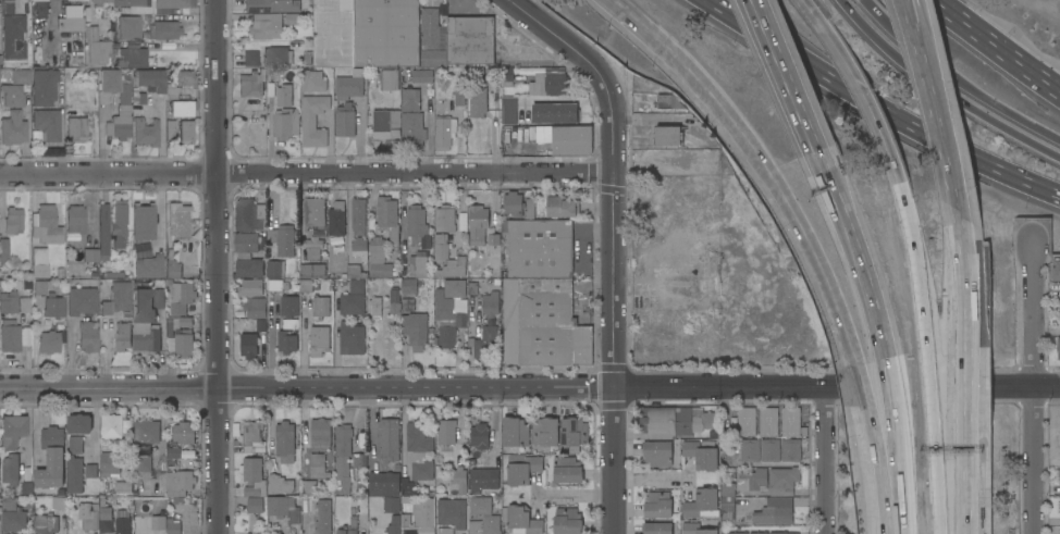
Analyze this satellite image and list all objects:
road: (85, 0)
building: (32, 1)
building: (98, 2)
road: (843, 2)
building: (151, 4)
building: (272, 5)
building: (7, 7)
building: (70, 18)
building: (291, 18)
building: (266, 26)
building: (168, 28)
building: (432, 29)
building: (333, 33)
building: (385, 33)
building: (14, 36)
building: (470, 40)
building: (97, 46)
road: (997, 46)
building: (278, 55)
building: (133, 57)
building: (246, 58)
building: (433, 58)
building: (0, 60)
building: (474, 72)
road: (792, 74)
building: (22, 75)
building: (421, 75)
building: (492, 75)
building: (506, 76)
building: (186, 77)
building: (150, 79)
building: (391, 79)
road: (954, 79)
building: (312, 80)
road: (854, 80)
building: (251, 83)
building: (108, 84)
building: (547, 84)
building: (349, 85)
building: (44, 86)
road: (945, 91)
building: (172, 92)
building: (12, 95)
building: (138, 95)
building: (284, 95)
building: (459, 96)
building: (410, 98)
building: (477, 101)
building: (668, 101)
road: (879, 105)
building: (182, 108)
building: (506, 110)
building: (121, 111)
building: (540, 114)
road: (938, 114)
building: (313, 120)
building: (345, 120)
building: (47, 123)
building: (285, 123)
building: (385, 123)
building: (13, 127)
building: (77, 128)
building: (170, 128)
building: (411, 128)
building: (444, 131)
building: (146, 132)
building: (186, 132)
building: (668, 135)
building: (571, 140)
road: (769, 153)
building: (670, 160)
building: (711, 166)
road: (613, 171)
road: (307, 173)
road: (215, 194)
building: (513, 203)
building: (562, 207)
building: (530, 210)
building: (315, 211)
building: (384, 211)
building: (249, 214)
building: (358, 215)
building: (444, 218)
building: (178, 219)
building: (336, 219)
building: (13, 220)
building: (119, 220)
building: (75, 221)
building: (143, 221)
building: (47, 224)
building: (416, 224)
building: (478, 224)
building: (103, 231)
building: (282, 239)
building: (246, 241)
building: (313, 247)
building: (539, 247)
building: (3, 248)
building: (359, 248)
building: (441, 248)
road: (861, 249)
building: (141, 250)
building: (494, 250)
building: (90, 253)
building: (378, 258)
road: (917, 258)
building: (39, 261)
building: (419, 264)
building: (150, 268)
building: (249, 268)
building: (453, 268)
building: (173, 269)
building: (274, 269)
building: (312, 270)
building: (1056, 270)
building: (354, 272)
building: (276, 284)
building: (306, 285)
building: (408, 285)
building: (472, 285)
building: (42, 286)
building: (250, 287)
building: (454, 288)
road: (961, 289)
building: (1059, 295)
building: (182, 297)
building: (118, 298)
building: (353, 298)
building: (82, 300)
building: (9, 301)
building: (393, 301)
building: (407, 302)
building: (25, 303)
building: (490, 303)
building: (53, 306)
building: (320, 306)
building: (374, 306)
building: (255, 307)
building: (289, 310)
building: (448, 318)
building: (145, 322)
building: (185, 322)
building: (543, 323)
building: (415, 330)
road: (1047, 333)
building: (10, 335)
building: (123, 335)
building: (86, 337)
building: (352, 337)
building: (319, 339)
building: (483, 339)
building: (49, 340)
building: (286, 341)
building: (183, 343)
building: (249, 345)
building: (1058, 348)
road: (960, 381)
road: (896, 382)
road: (933, 382)
road: (865, 383)
road: (1035, 385)
road: (837, 386)
road: (416, 387)
road: (108, 388)
building: (665, 420)
building: (708, 420)
building: (747, 421)
building: (767, 421)
building: (790, 421)
building: (78, 423)
building: (114, 425)
building: (12, 430)
building: (147, 431)
building: (321, 432)
building: (515, 432)
building: (545, 432)
building: (574, 432)
building: (184, 433)
building: (480, 435)
building: (252, 437)
building: (389, 438)
building: (284, 439)
building: (446, 439)
building: (75, 445)
building: (749, 449)
building: (769, 449)
building: (790, 449)
building: (419, 451)
building: (657, 452)
building: (173, 454)
building: (701, 455)
building: (343, 456)
building: (51, 457)
building: (473, 457)
building: (143, 459)
building: (359, 460)
road: (615, 460)
road: (825, 460)
road: (217, 461)
building: (109, 463)
building: (318, 465)
building: (521, 468)
building: (567, 469)
building: (91, 470)
road: (907, 472)
road: (879, 473)
road: (940, 473)
road: (958, 473)
building: (1059, 473)
building: (14, 474)
building: (75, 474)
building: (252, 476)
building: (483, 480)
road: (651, 480)
building: (752, 480)
building: (383, 481)
building: (782, 481)
building: (178, 482)
building: (457, 482)
building: (280, 484)
building: (308, 486)
building: (407, 486)
building: (123, 487)
road: (574, 493)
building: (727, 497)
building: (59, 502)
building: (701, 502)
building: (1059, 504)
building: (255, 505)
building: (391, 505)
building: (657, 505)
building: (358, 506)
building: (480, 506)
building: (283, 508)
building: (775, 511)
building: (452, 512)
building: (12, 516)
building: (90, 517)
building: (323, 517)
building: (416, 518)
building: (521, 519)
building: (106, 520)
building: (567, 521)
building: (158, 522)
building: (45, 523)
building: (485, 524)
building: (122, 525)
building: (353, 525)
building: (172, 526)
building: (656, 527)
building: (695, 529)
building: (724, 529)
building: (1058, 530)
building: (341, 532)
building: (759, 532)
building: (782, 532)

